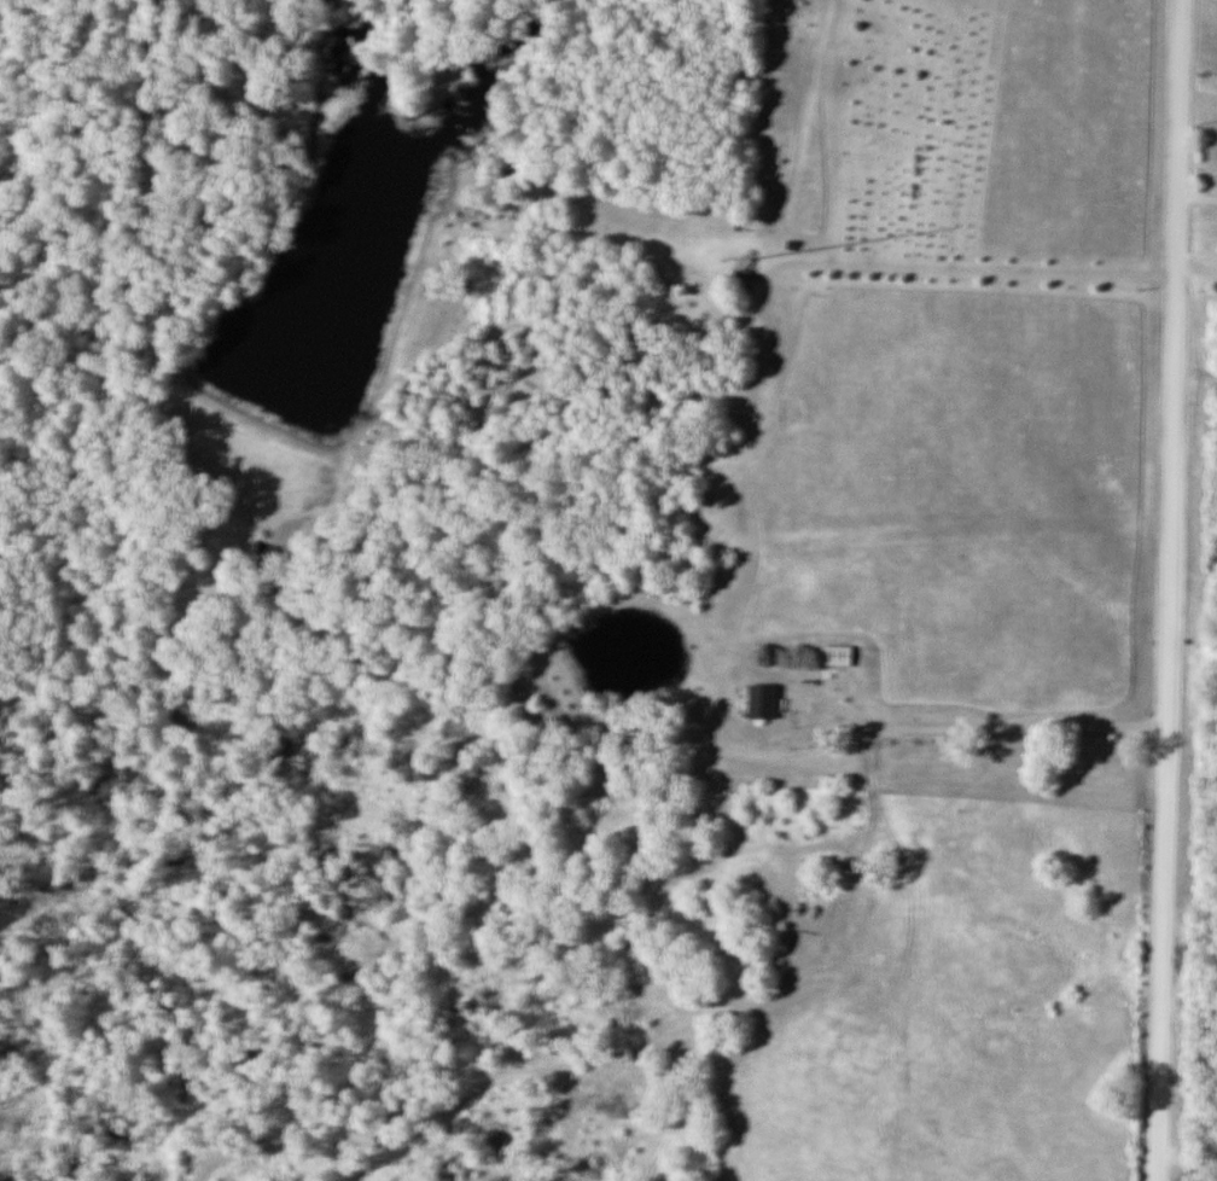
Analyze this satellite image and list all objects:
road: (1195, 262)
building: (746, 275)
road: (1167, 589)
building: (840, 656)
building: (764, 702)
road: (1018, 725)

